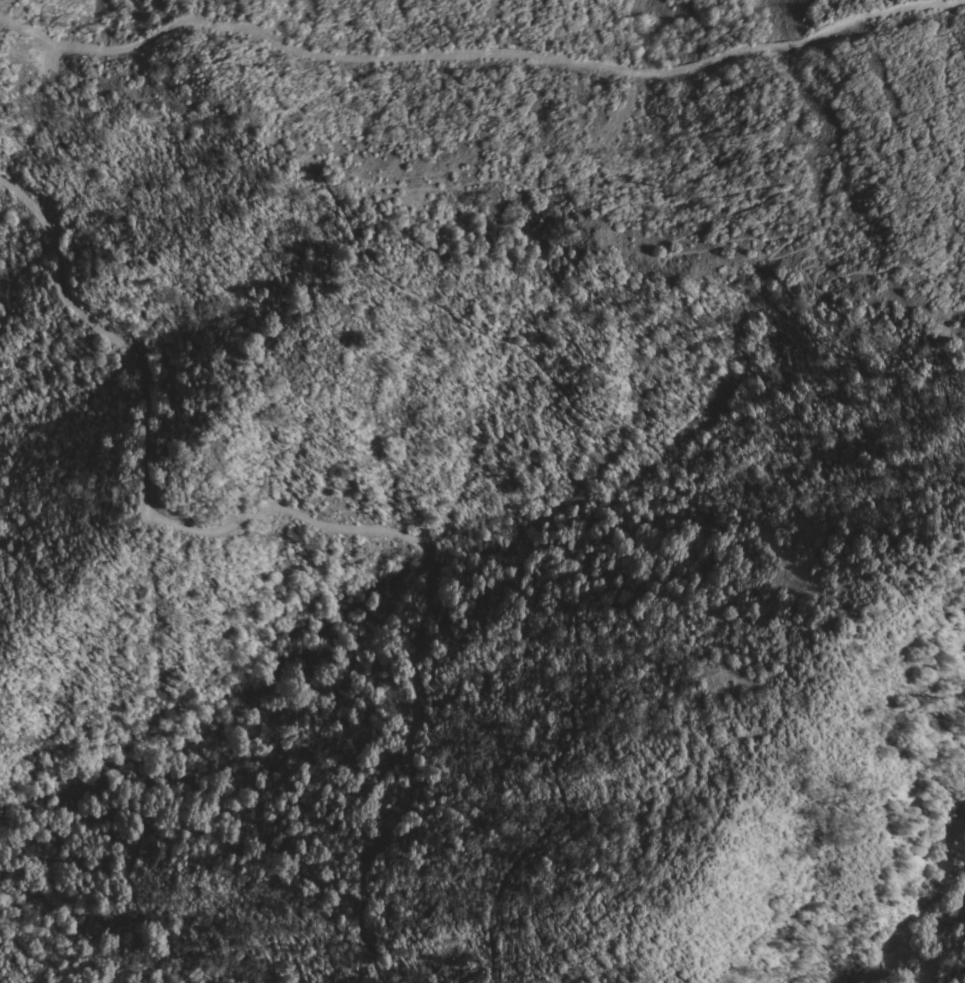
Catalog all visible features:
road: (480, 53)
road: (754, 206)
road: (314, 519)
road: (662, 526)
road: (26, 741)
road: (146, 814)

